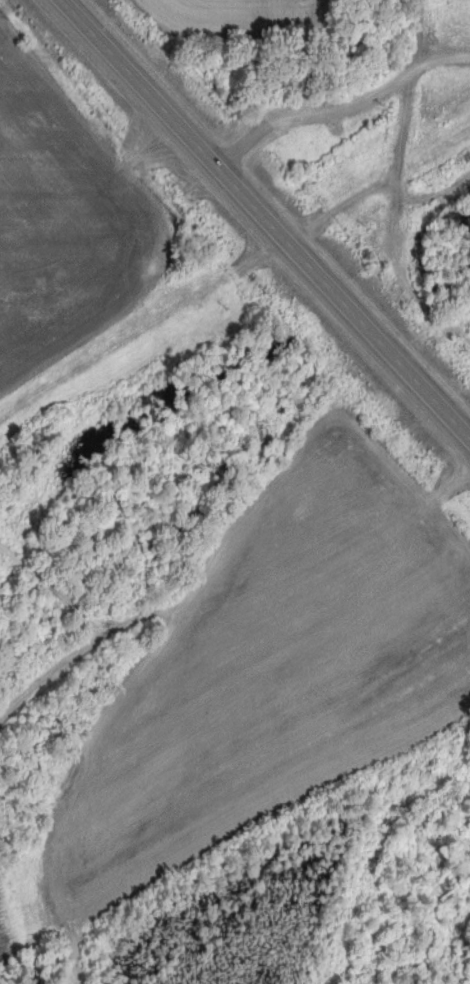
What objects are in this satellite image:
road: (338, 102)
road: (264, 220)

